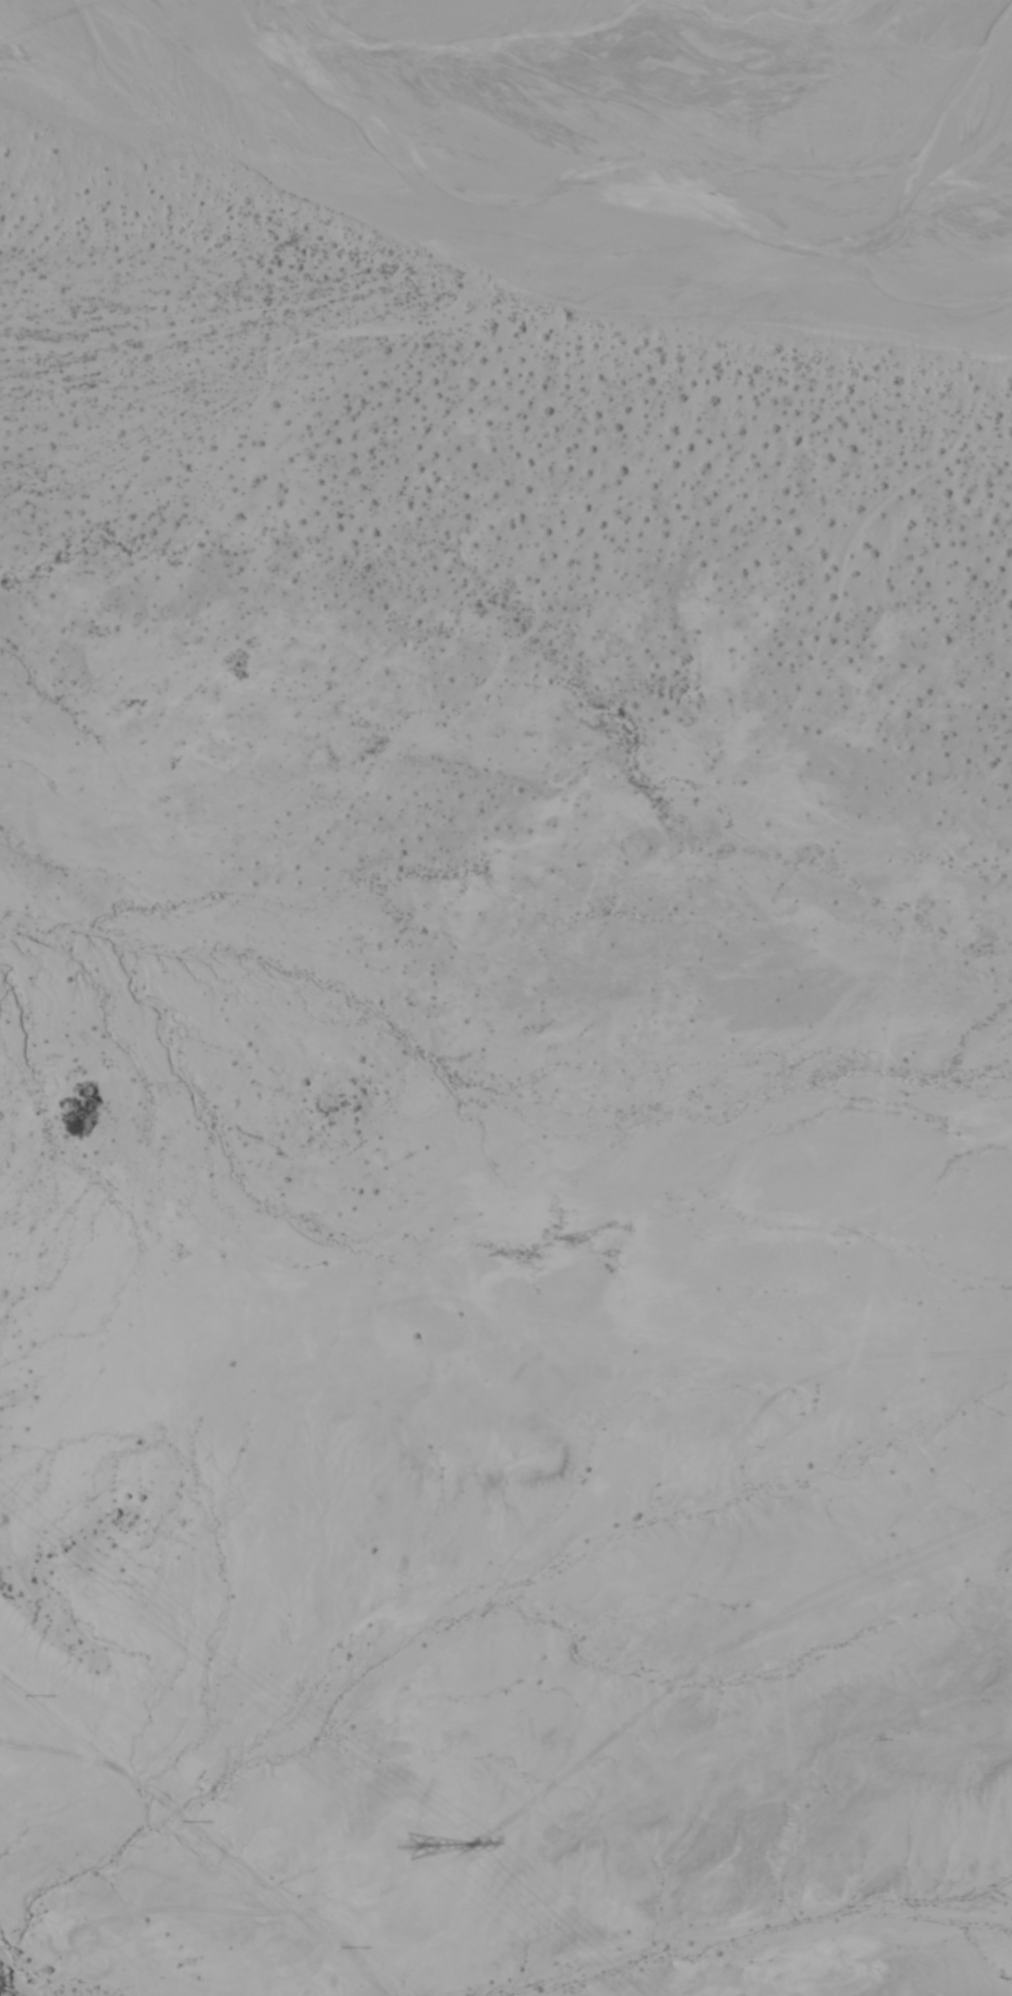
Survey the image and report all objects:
power tower: (416, 1845)

